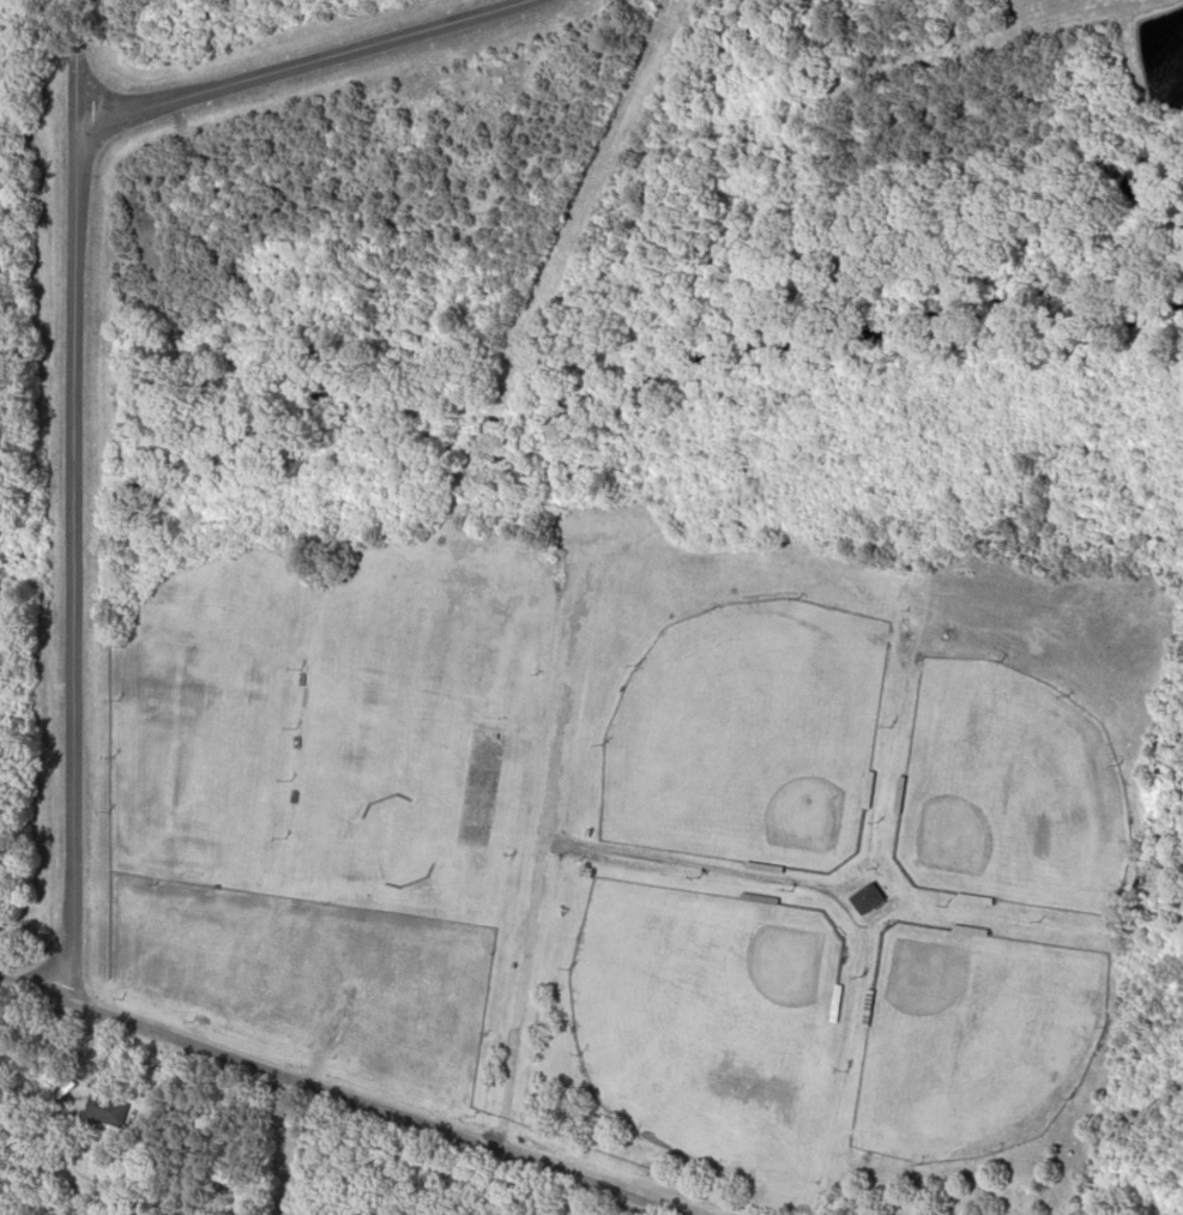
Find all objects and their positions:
road: (295, 64)
road: (70, 518)
building: (863, 896)
road: (342, 1088)

